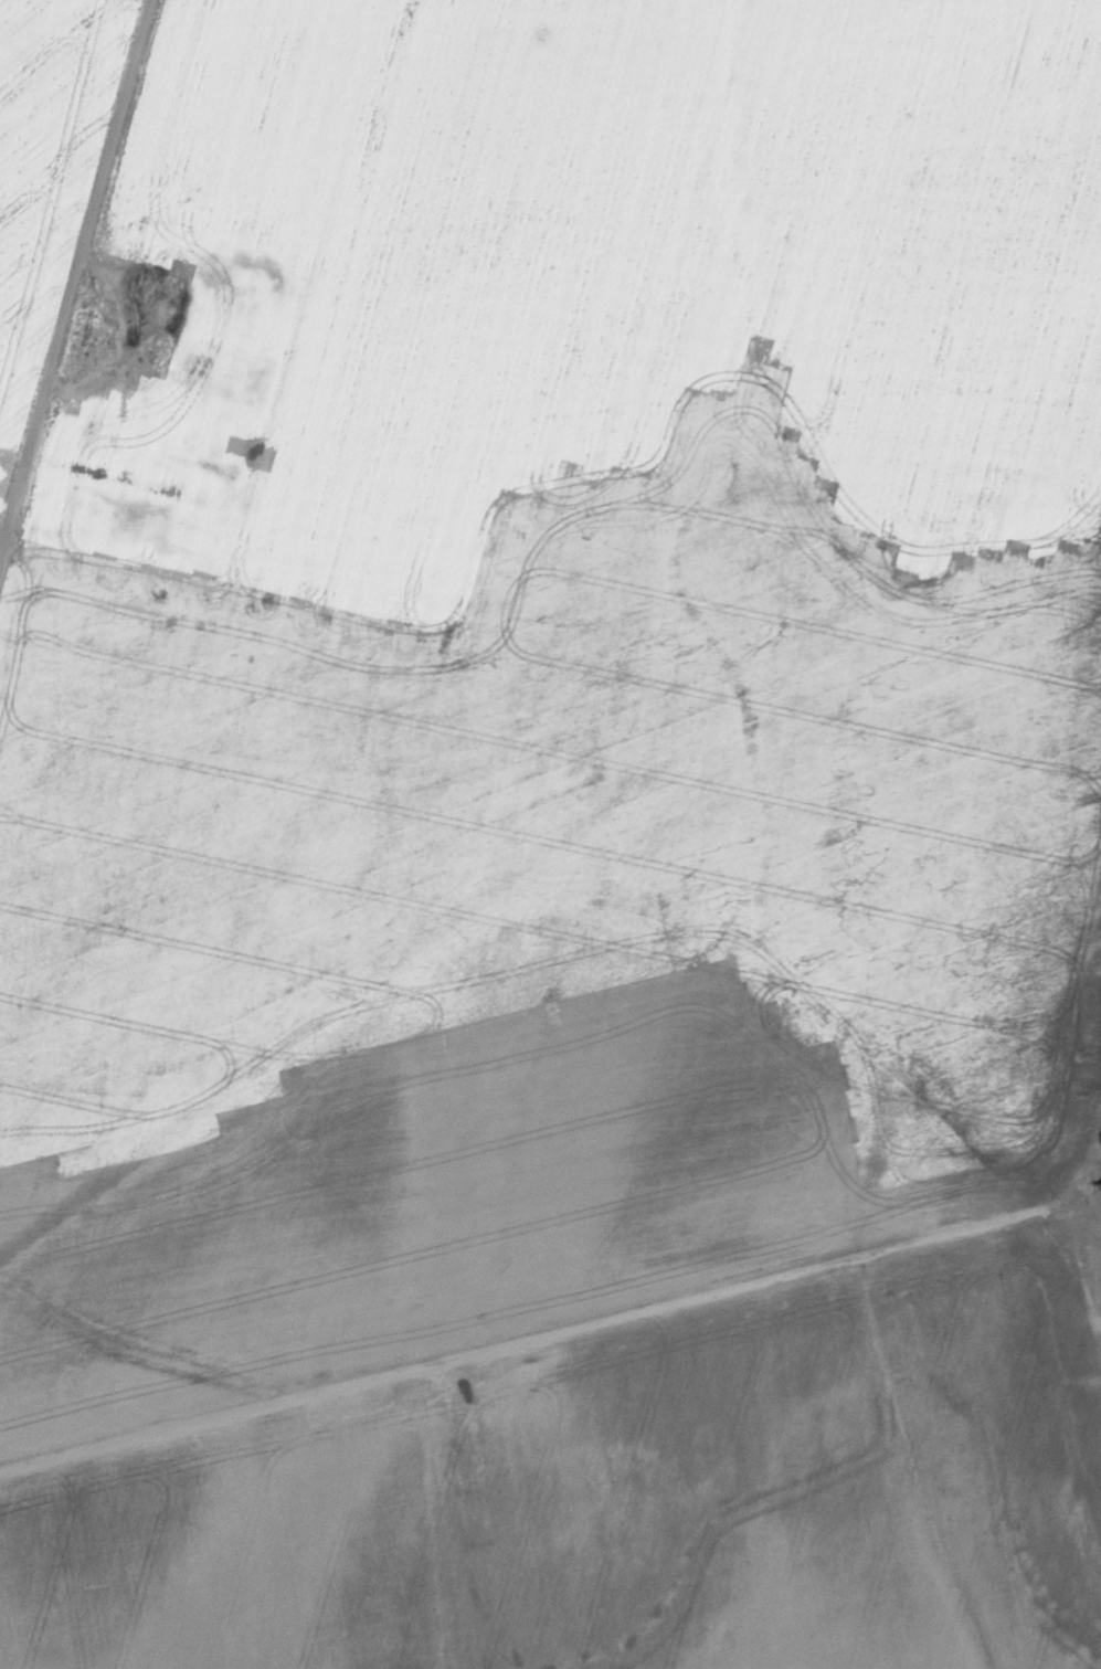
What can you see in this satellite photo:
road: (87, 315)
road: (550, 1304)

